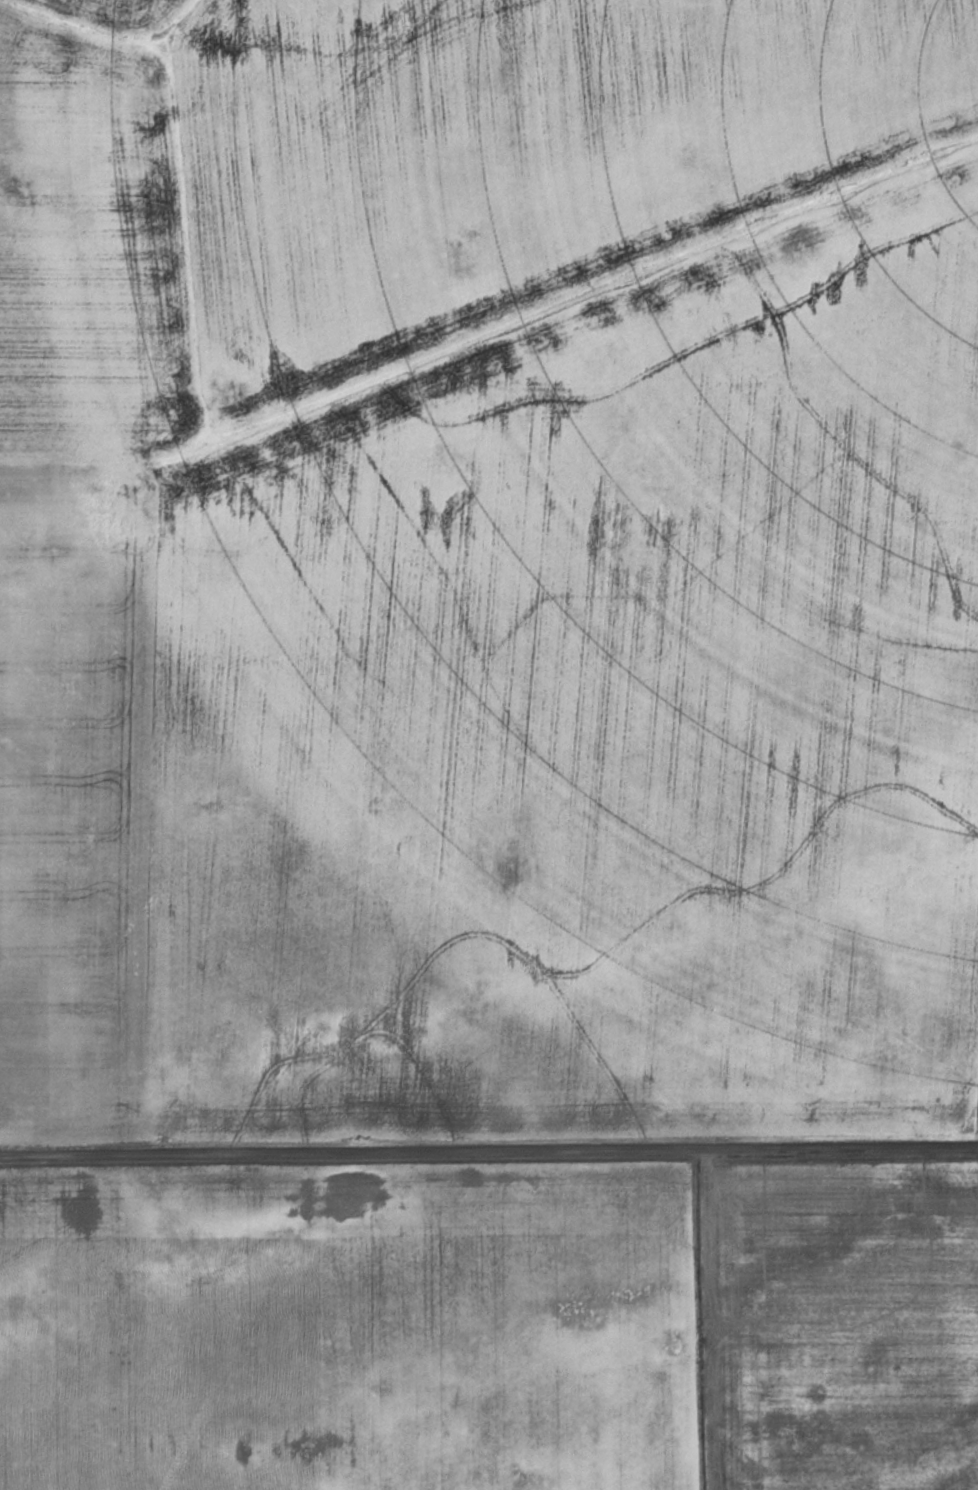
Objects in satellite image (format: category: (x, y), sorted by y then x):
road: (489, 1146)

